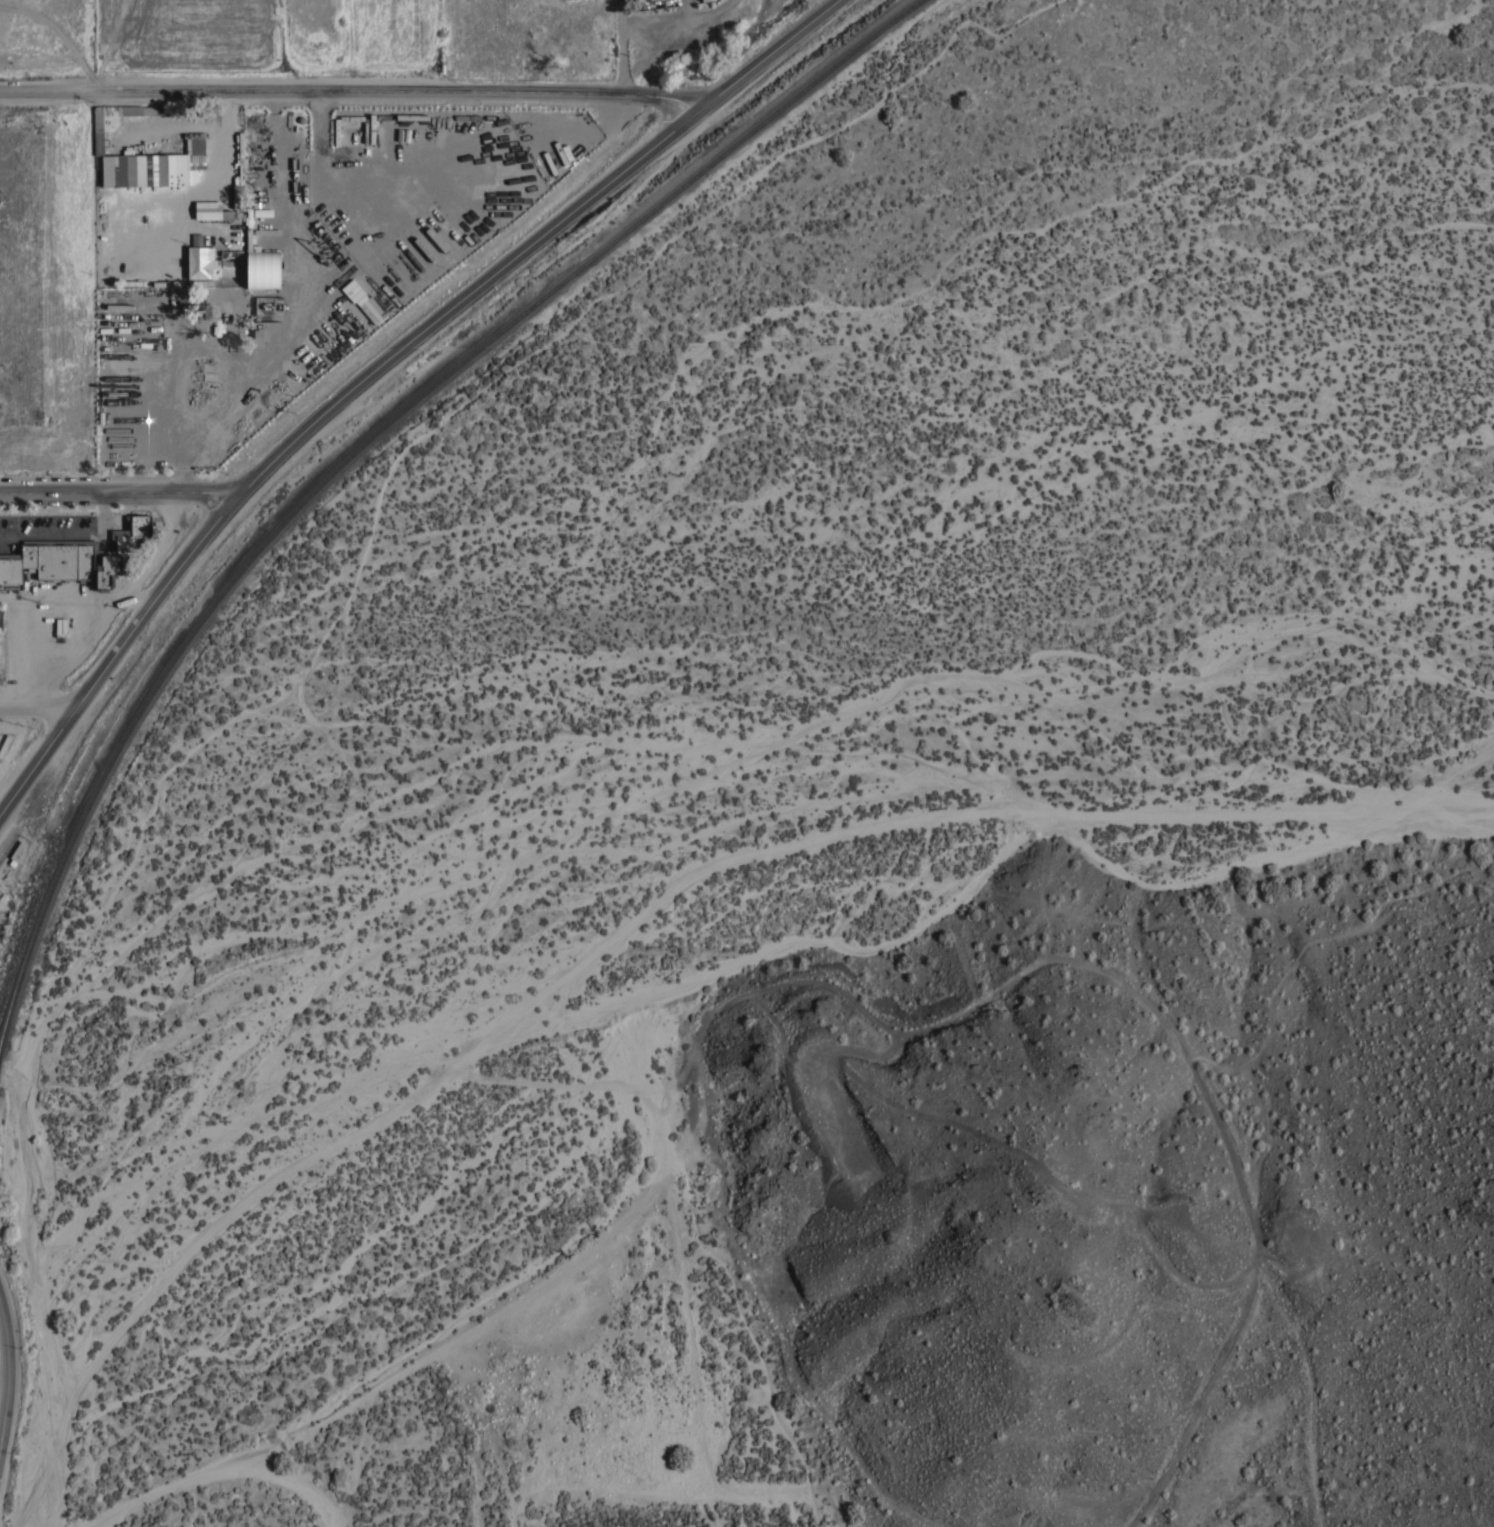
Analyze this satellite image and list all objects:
road: (619, 46)
road: (346, 93)
building: (98, 142)
building: (161, 165)
road: (204, 184)
building: (239, 187)
building: (210, 213)
building: (205, 240)
building: (206, 264)
building: (264, 269)
road: (378, 364)
building: (113, 373)
railway: (365, 444)
road: (120, 488)
road: (70, 531)
building: (76, 556)
road: (34, 596)
road: (34, 707)
building: (18, 851)
building: (1, 892)
railway: (1, 1047)
road: (5, 1361)
road: (211, 1473)

